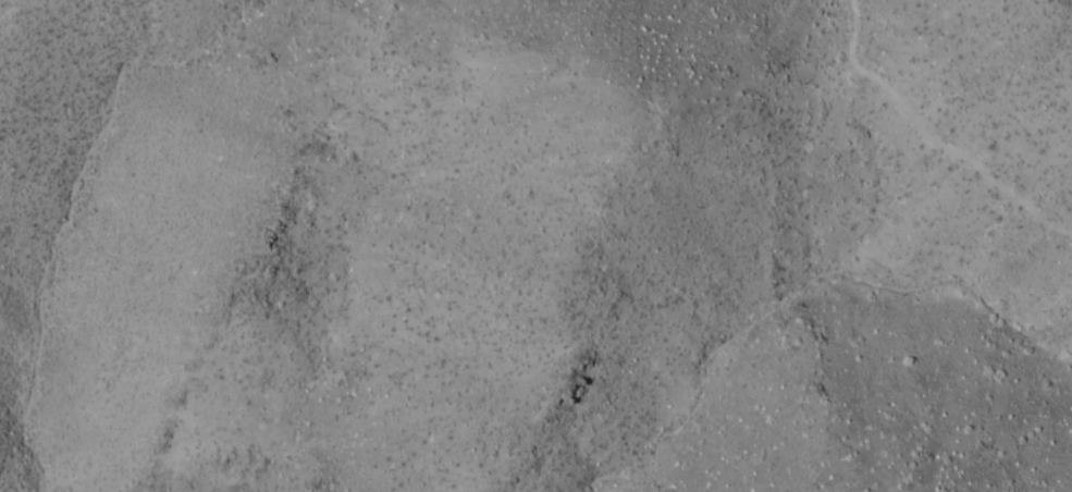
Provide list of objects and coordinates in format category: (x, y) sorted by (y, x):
road: (932, 140)

